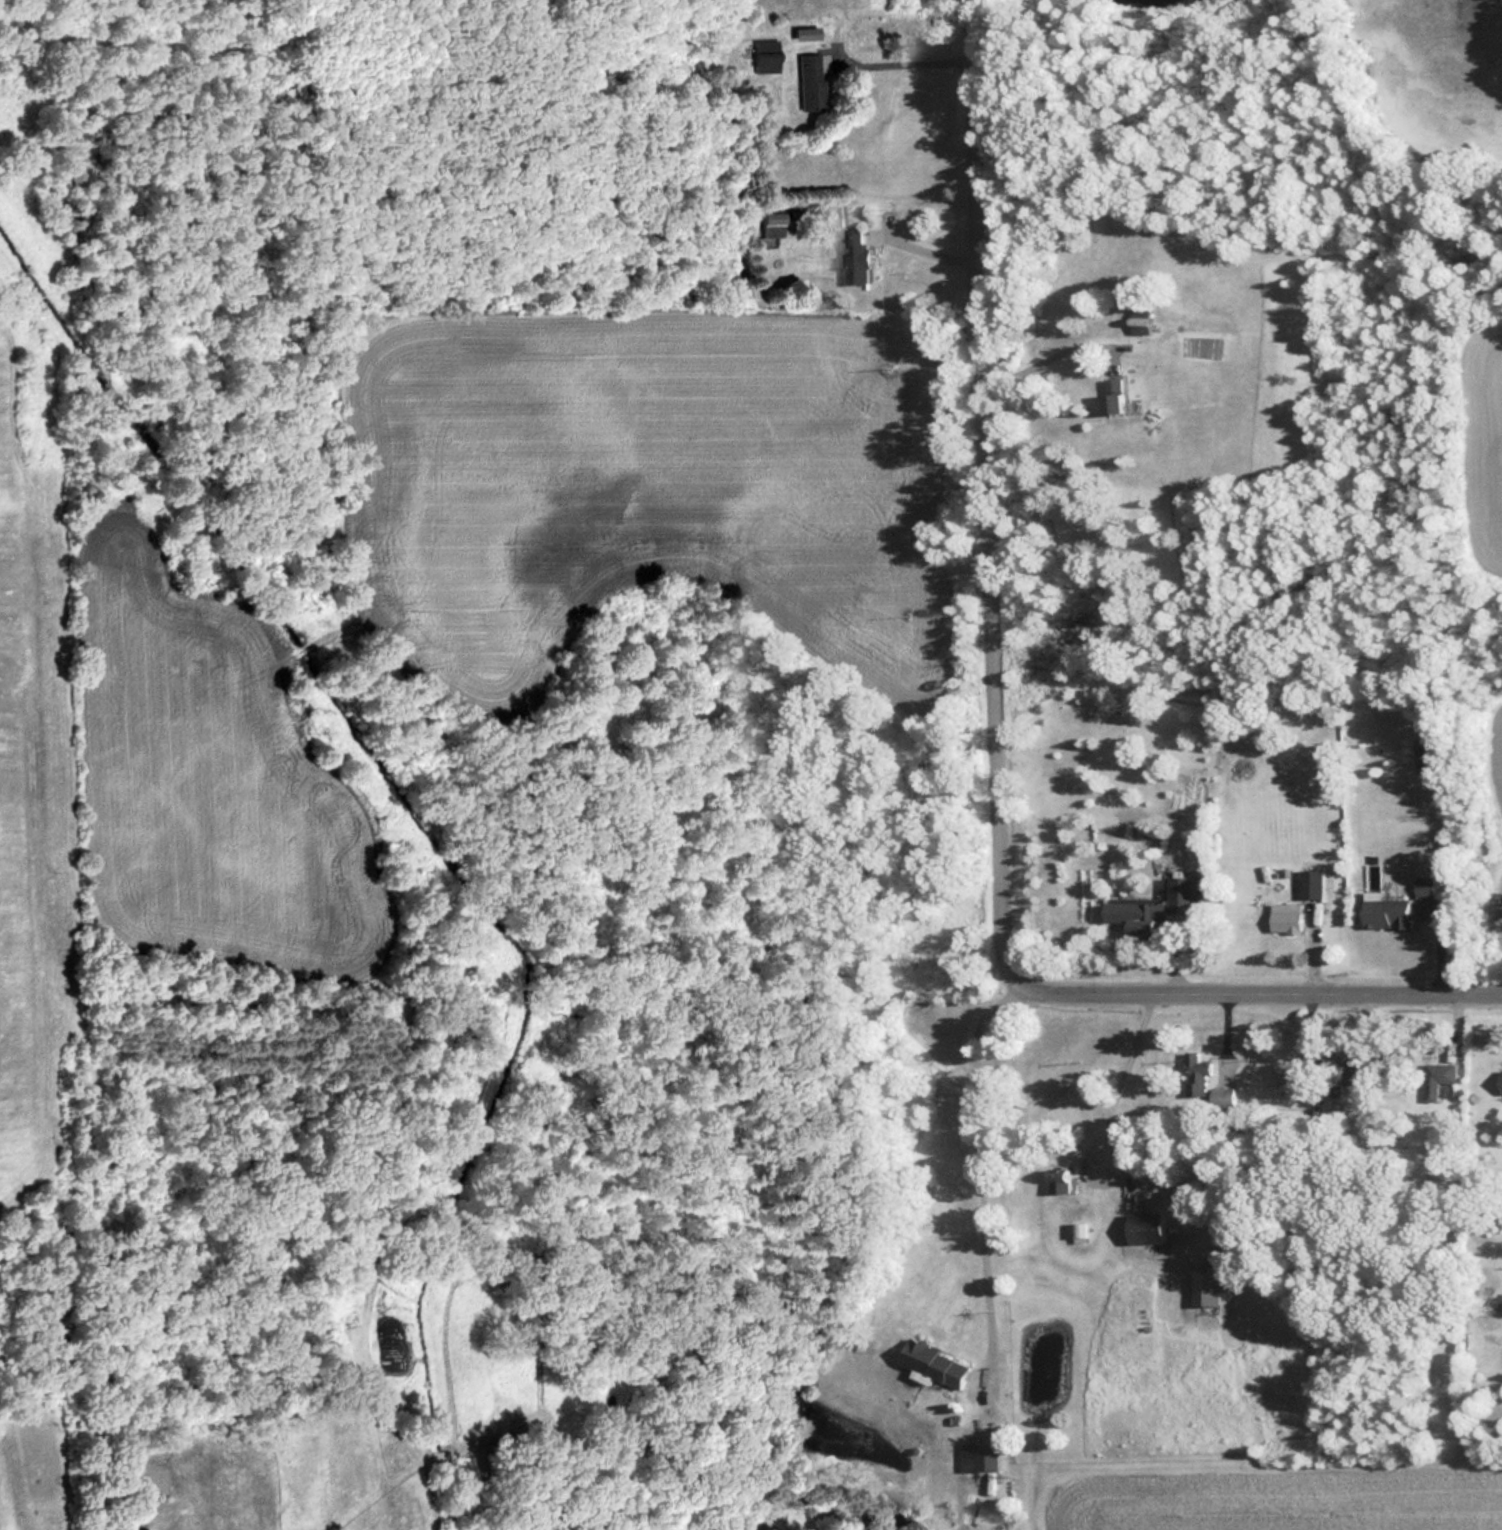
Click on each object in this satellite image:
road: (906, 62)
building: (802, 82)
building: (766, 222)
building: (853, 257)
building: (1109, 403)
road: (996, 733)
building: (1425, 754)
building: (1310, 883)
building: (1424, 887)
building: (1186, 901)
building: (1384, 911)
building: (1285, 917)
building: (1197, 1067)
building: (1286, 1070)
building: (1347, 1076)
building: (1439, 1077)
building: (1499, 1079)
road: (1120, 1081)
road: (984, 1168)
building: (1145, 1226)
building: (933, 1362)
building: (979, 1455)

